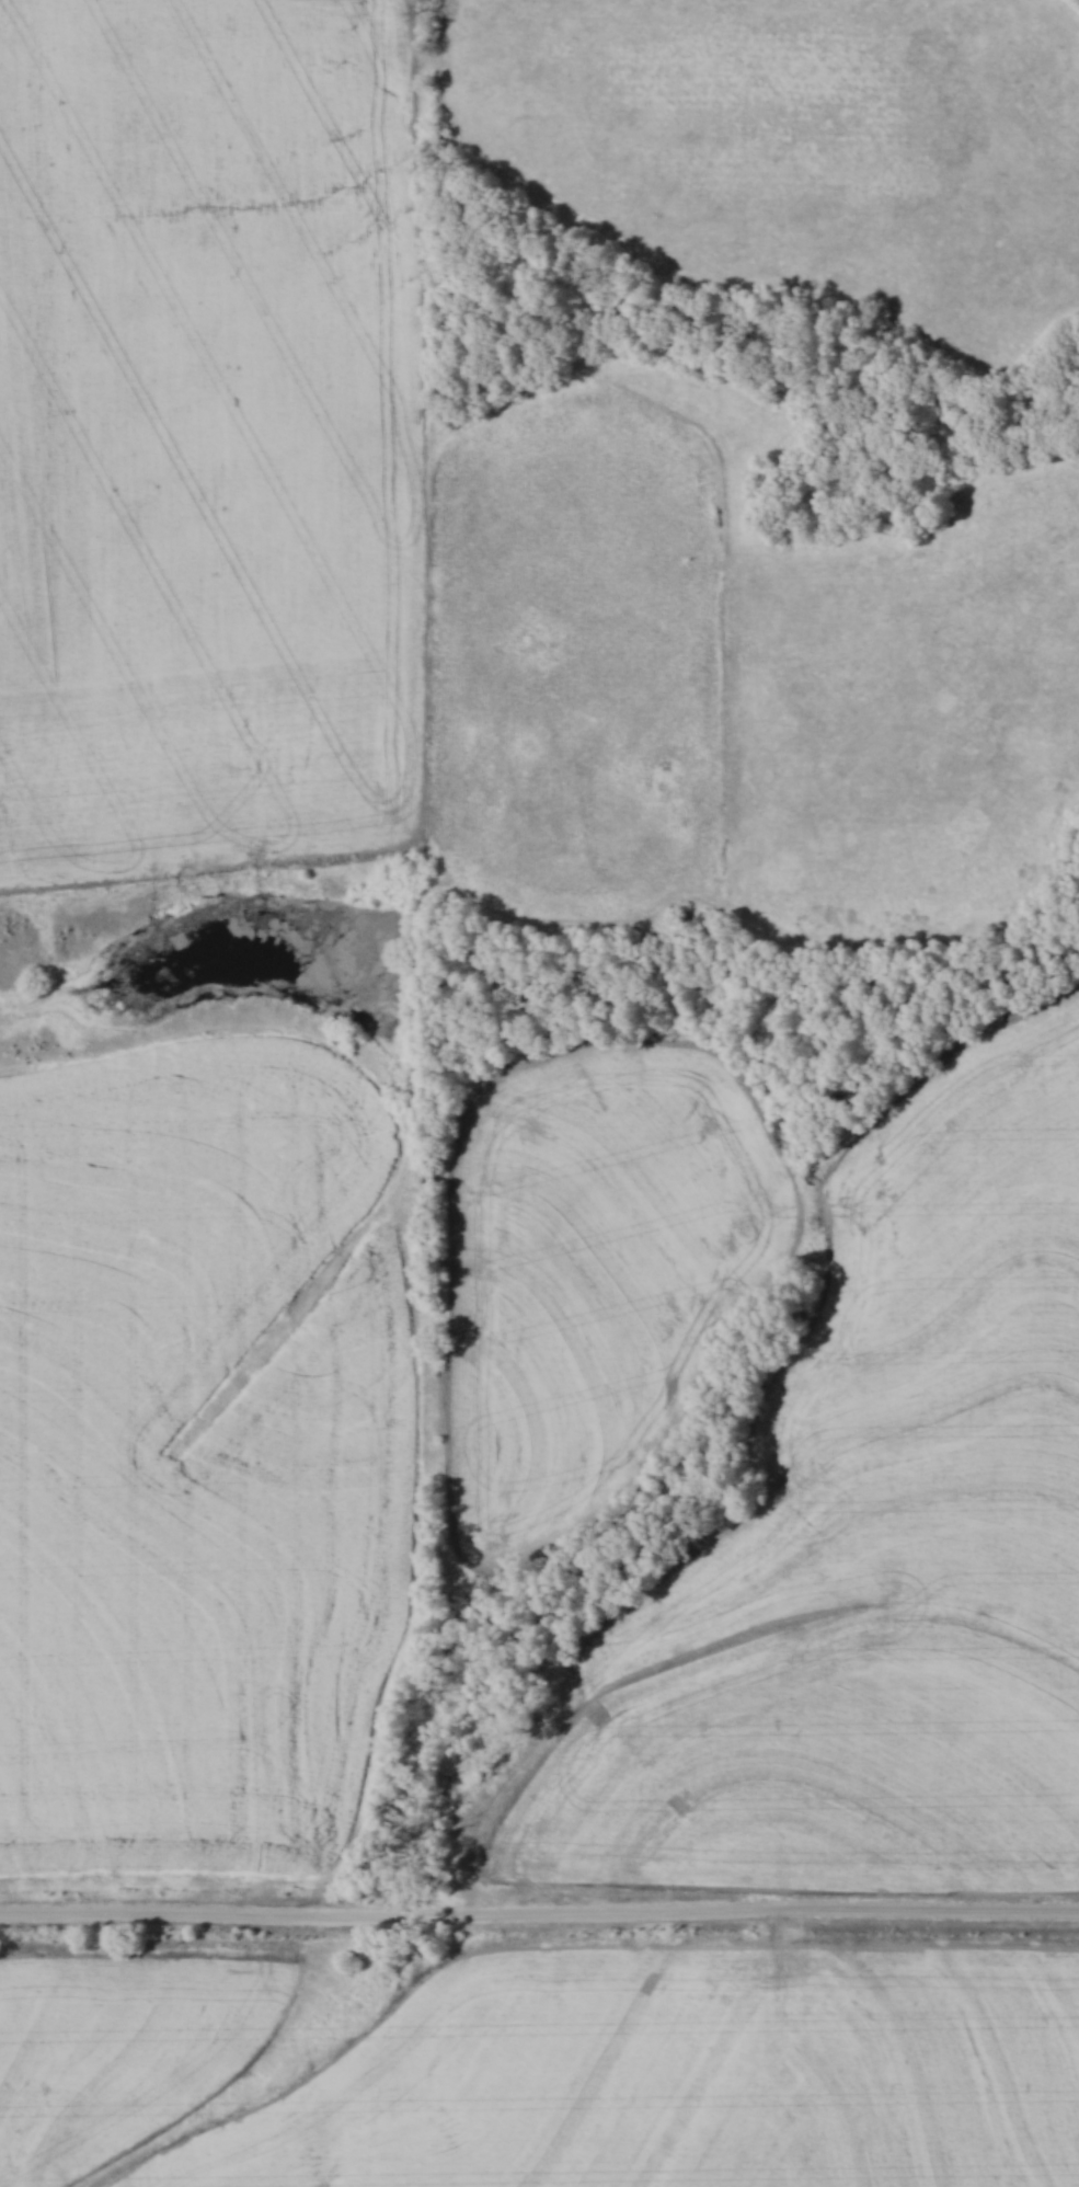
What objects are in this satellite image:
road: (539, 1911)

